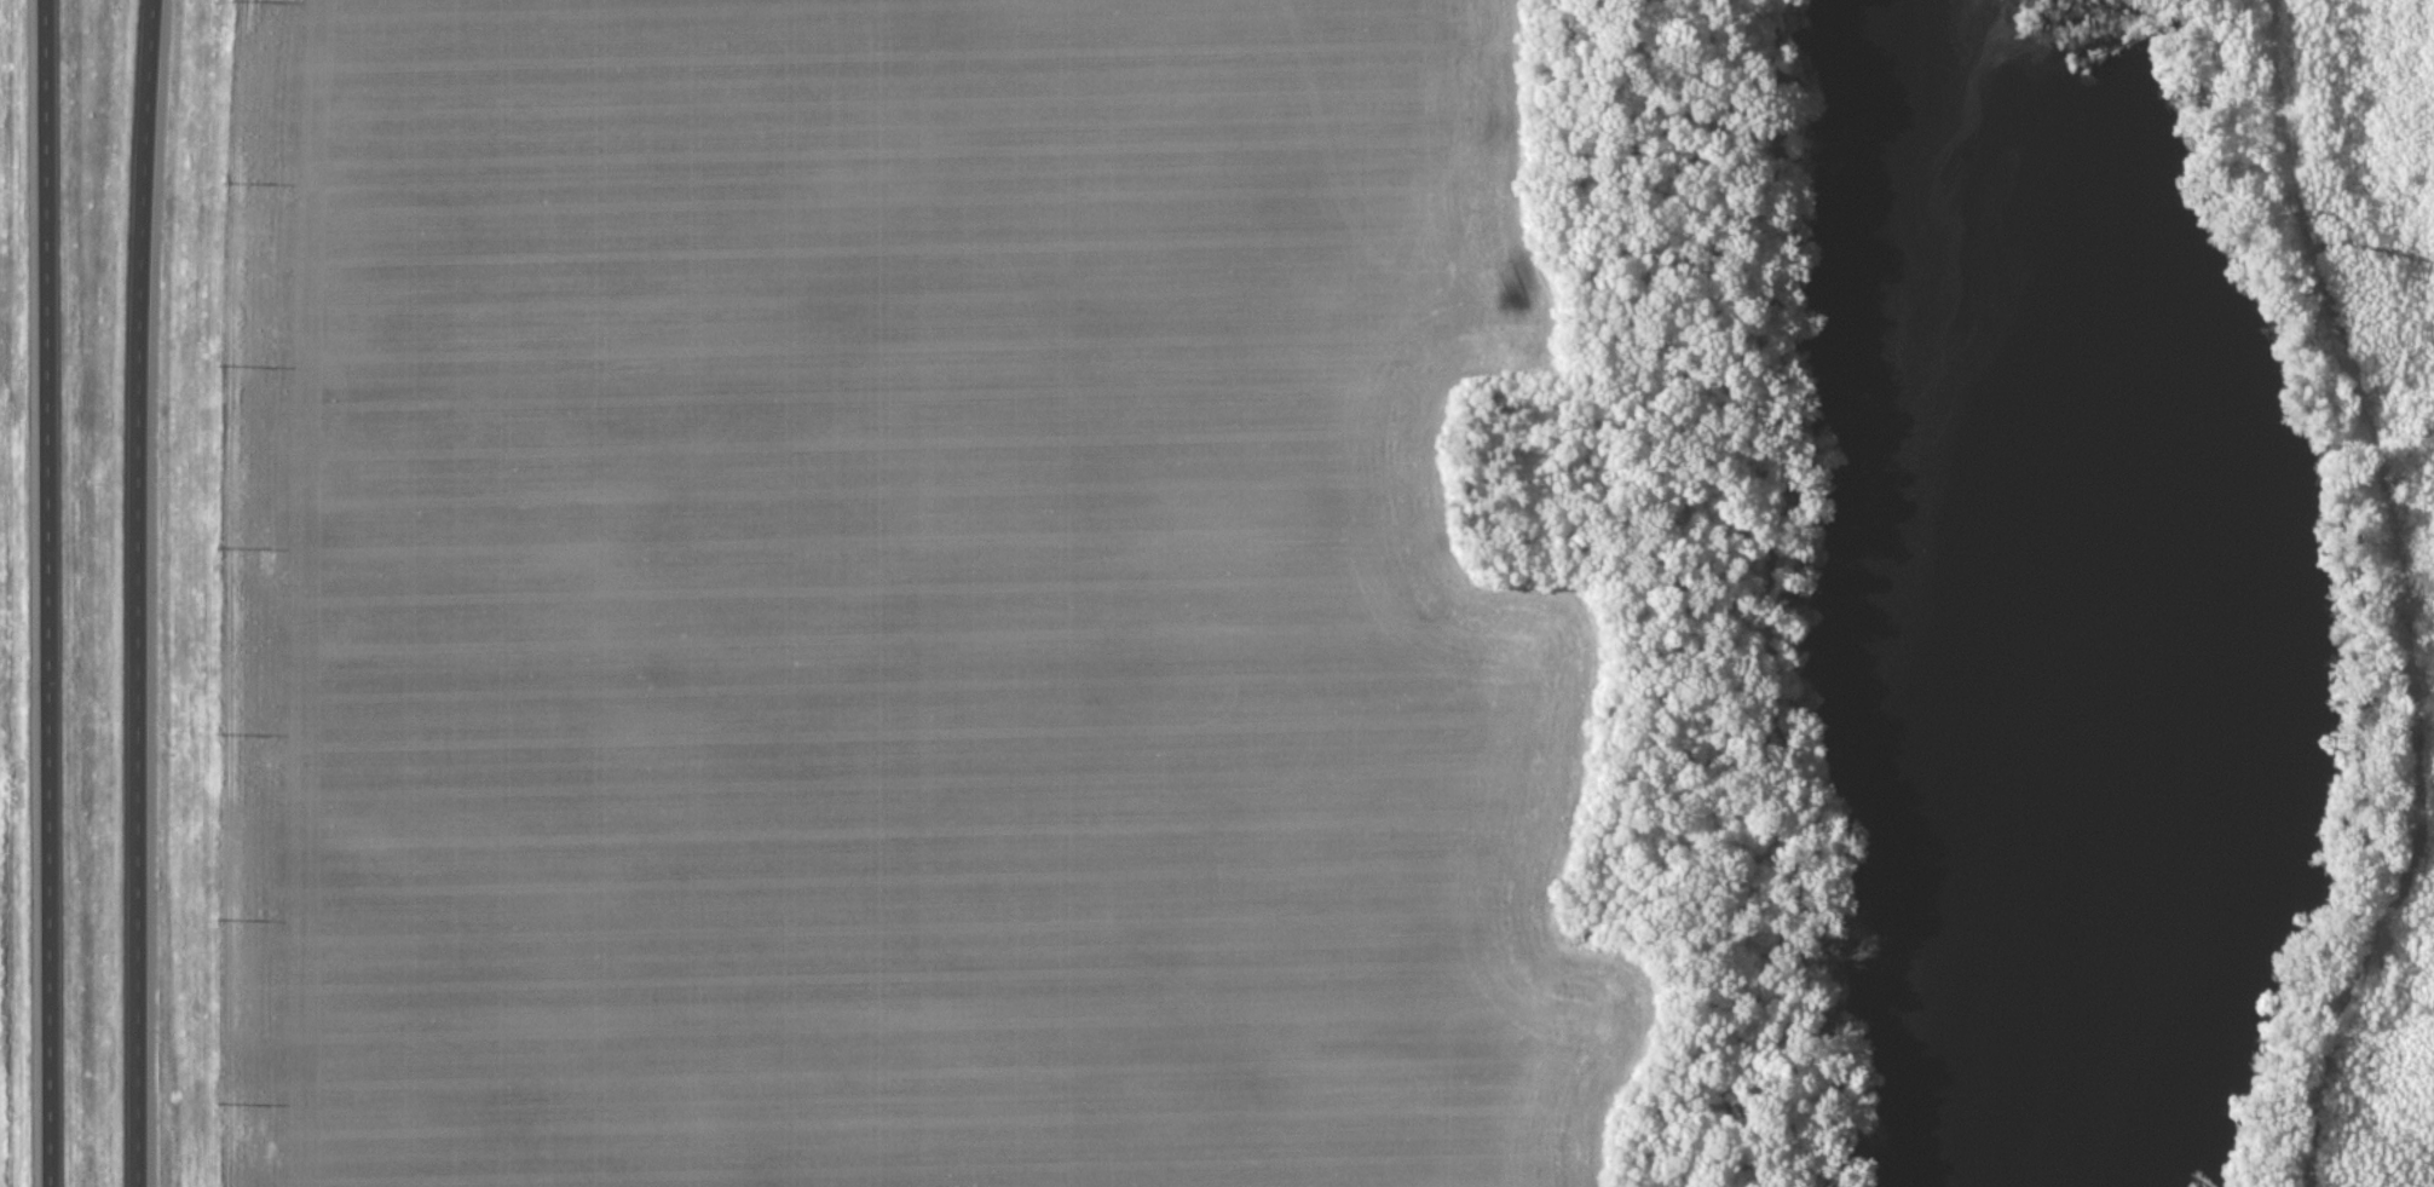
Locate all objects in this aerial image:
road: (45, 593)
road: (135, 593)

